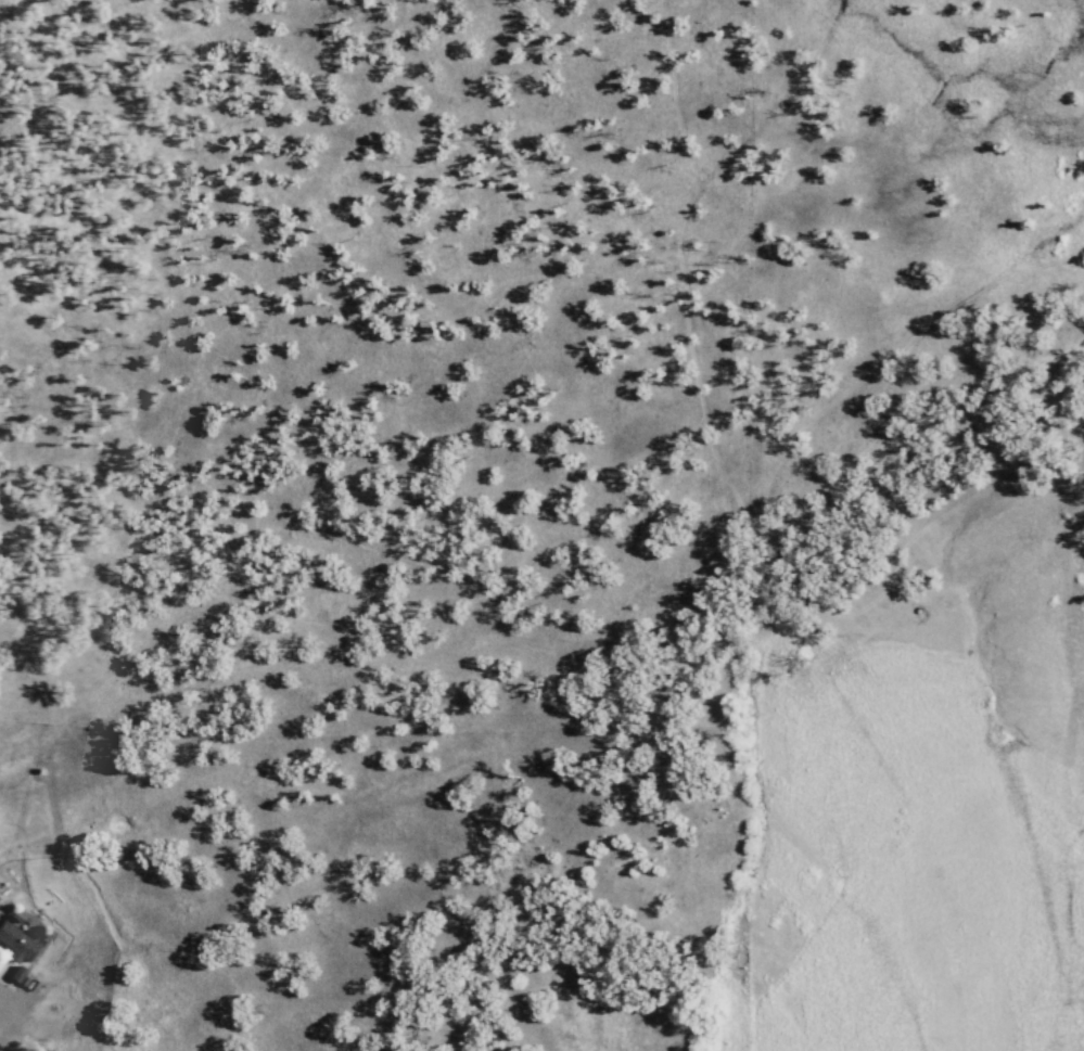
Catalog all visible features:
building: (16, 944)

